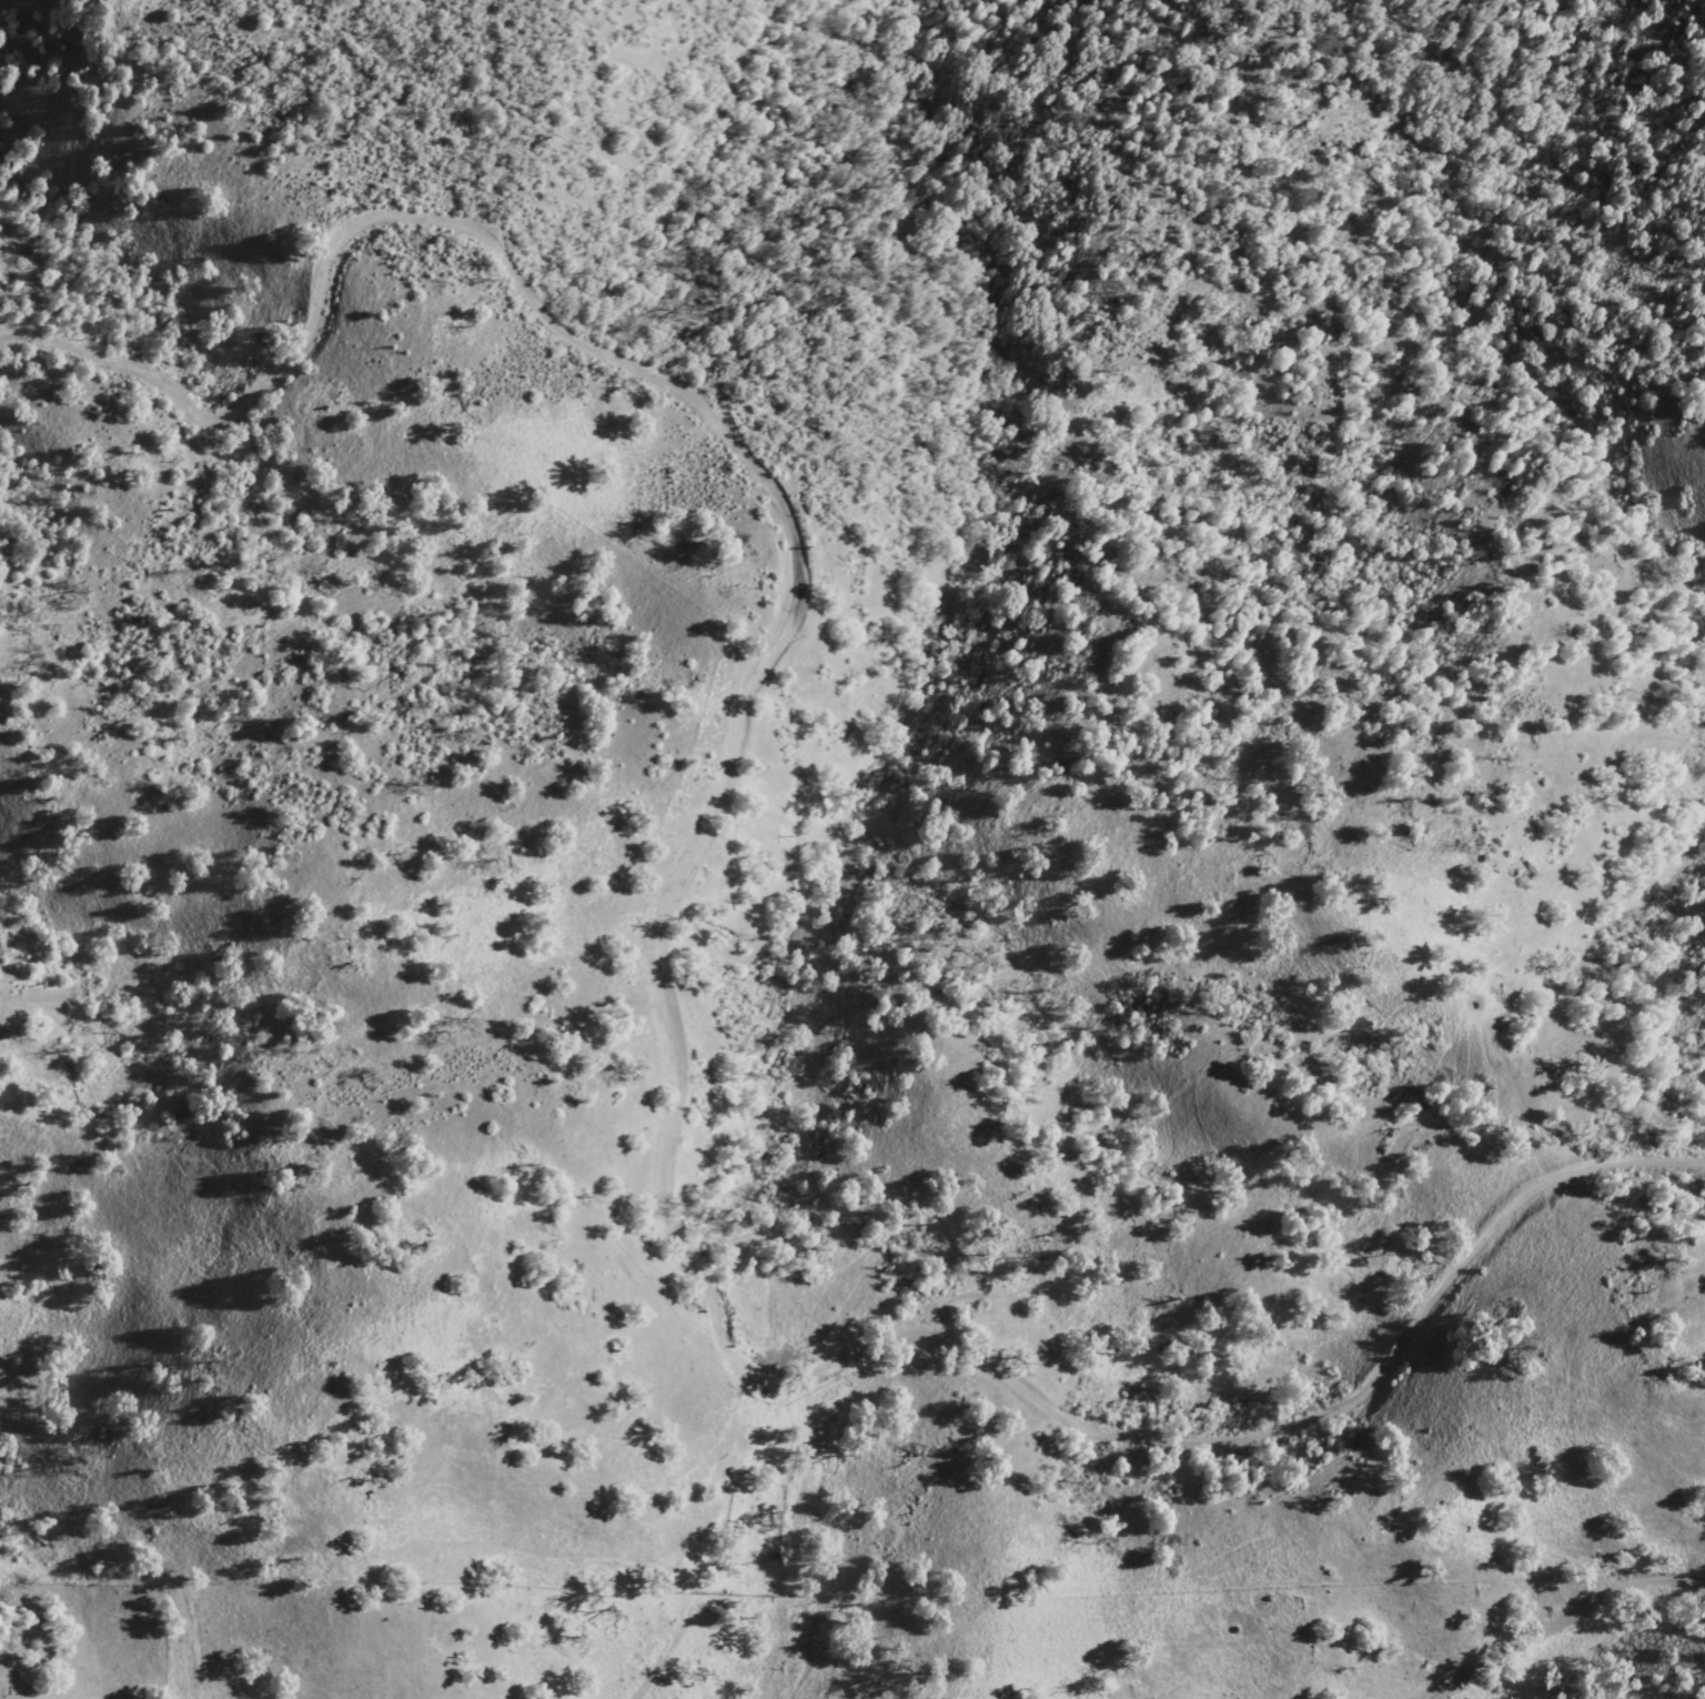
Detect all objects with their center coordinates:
road: (1572, 1627)

